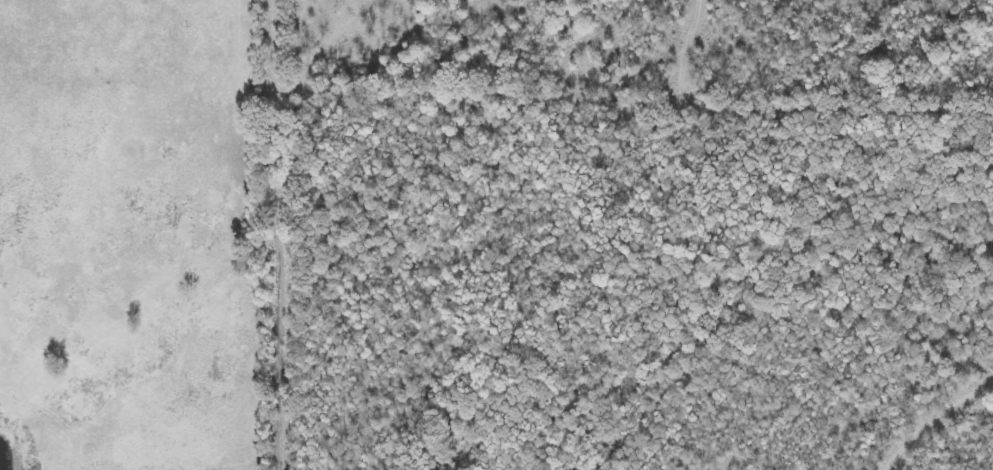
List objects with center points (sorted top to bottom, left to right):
road: (275, 235)

